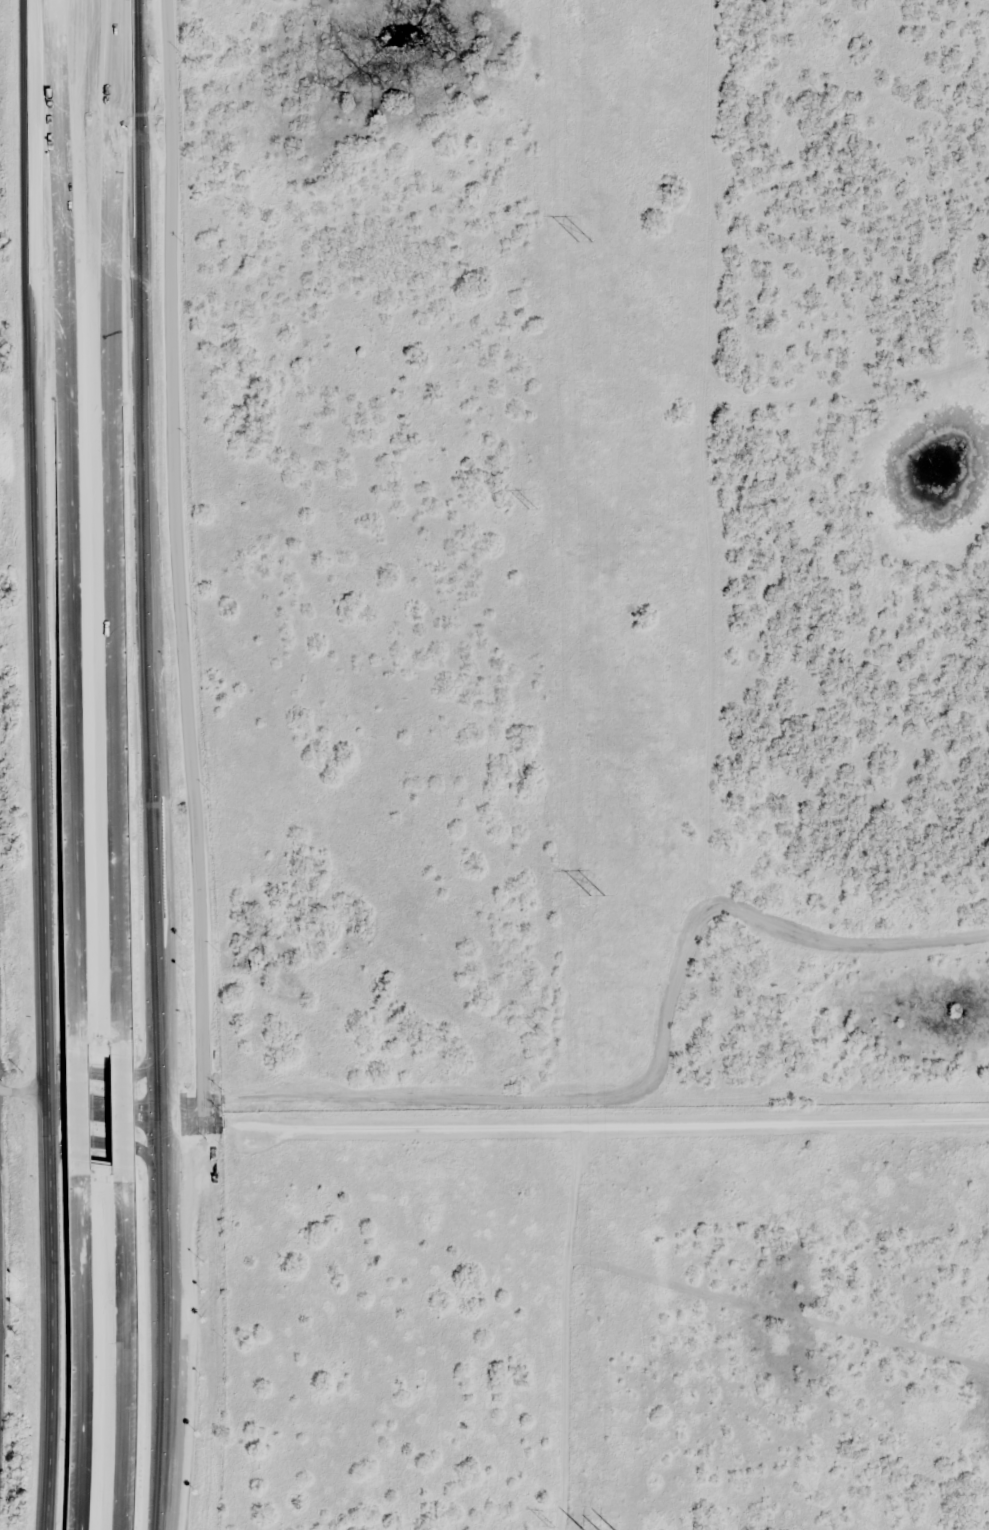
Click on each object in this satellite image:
power tower: (586, 242)
road: (756, 283)
power tower: (533, 509)
road: (71, 515)
road: (40, 516)
road: (111, 517)
road: (145, 555)
road: (176, 556)
power tower: (599, 895)
power tower: (542, 1034)
road: (47, 1063)
road: (89, 1070)
road: (77, 1098)
road: (72, 1100)
road: (114, 1106)
road: (571, 1133)
road: (103, 1140)
road: (156, 1205)
road: (49, 1279)
road: (77, 1349)
road: (116, 1353)
road: (156, 1400)
road: (45, 1497)
road: (154, 1514)
power tower: (552, 1526)

